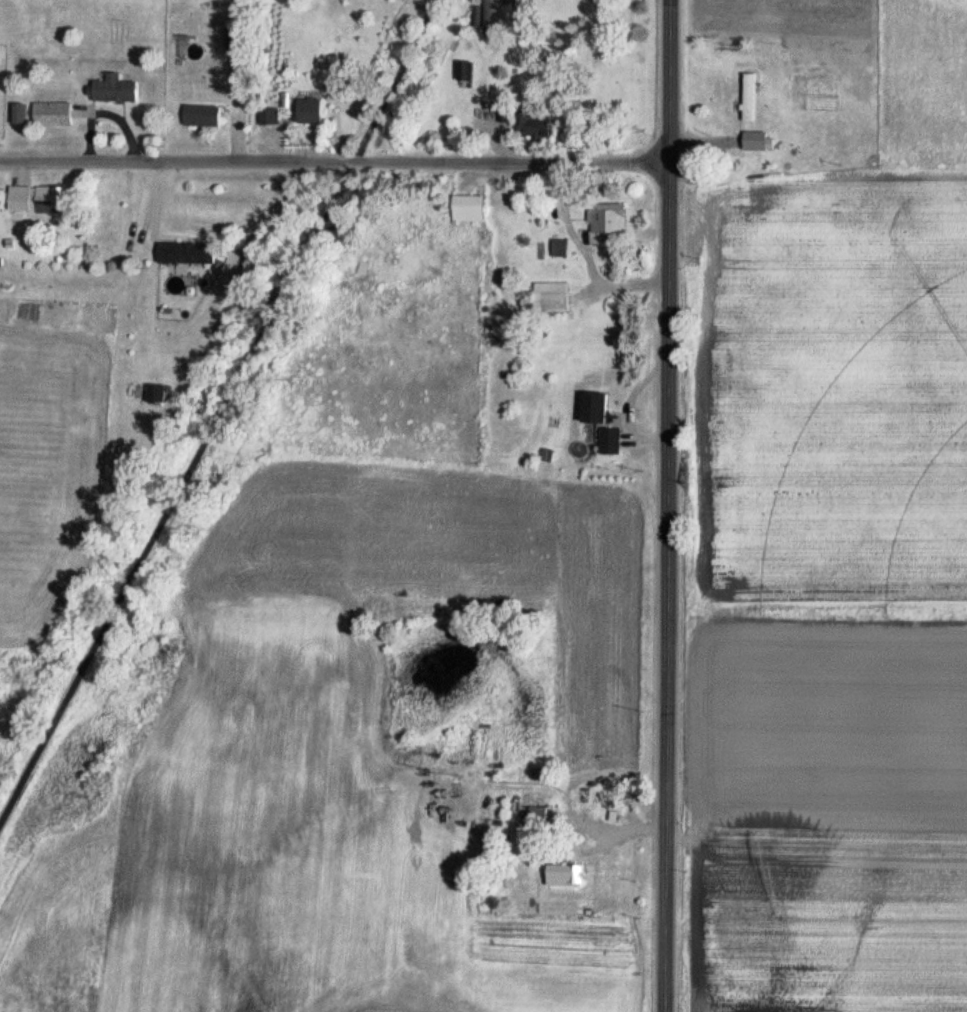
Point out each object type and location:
building: (487, 14)
building: (232, 35)
building: (465, 71)
building: (110, 89)
building: (746, 98)
building: (306, 111)
building: (51, 114)
building: (199, 115)
building: (266, 116)
building: (534, 128)
building: (752, 142)
road: (334, 162)
building: (47, 201)
building: (464, 209)
building: (606, 218)
building: (184, 253)
building: (545, 299)
road: (668, 321)
building: (154, 393)
road: (214, 401)
building: (589, 406)
building: (608, 441)
building: (536, 816)
road: (664, 827)
building: (562, 875)

